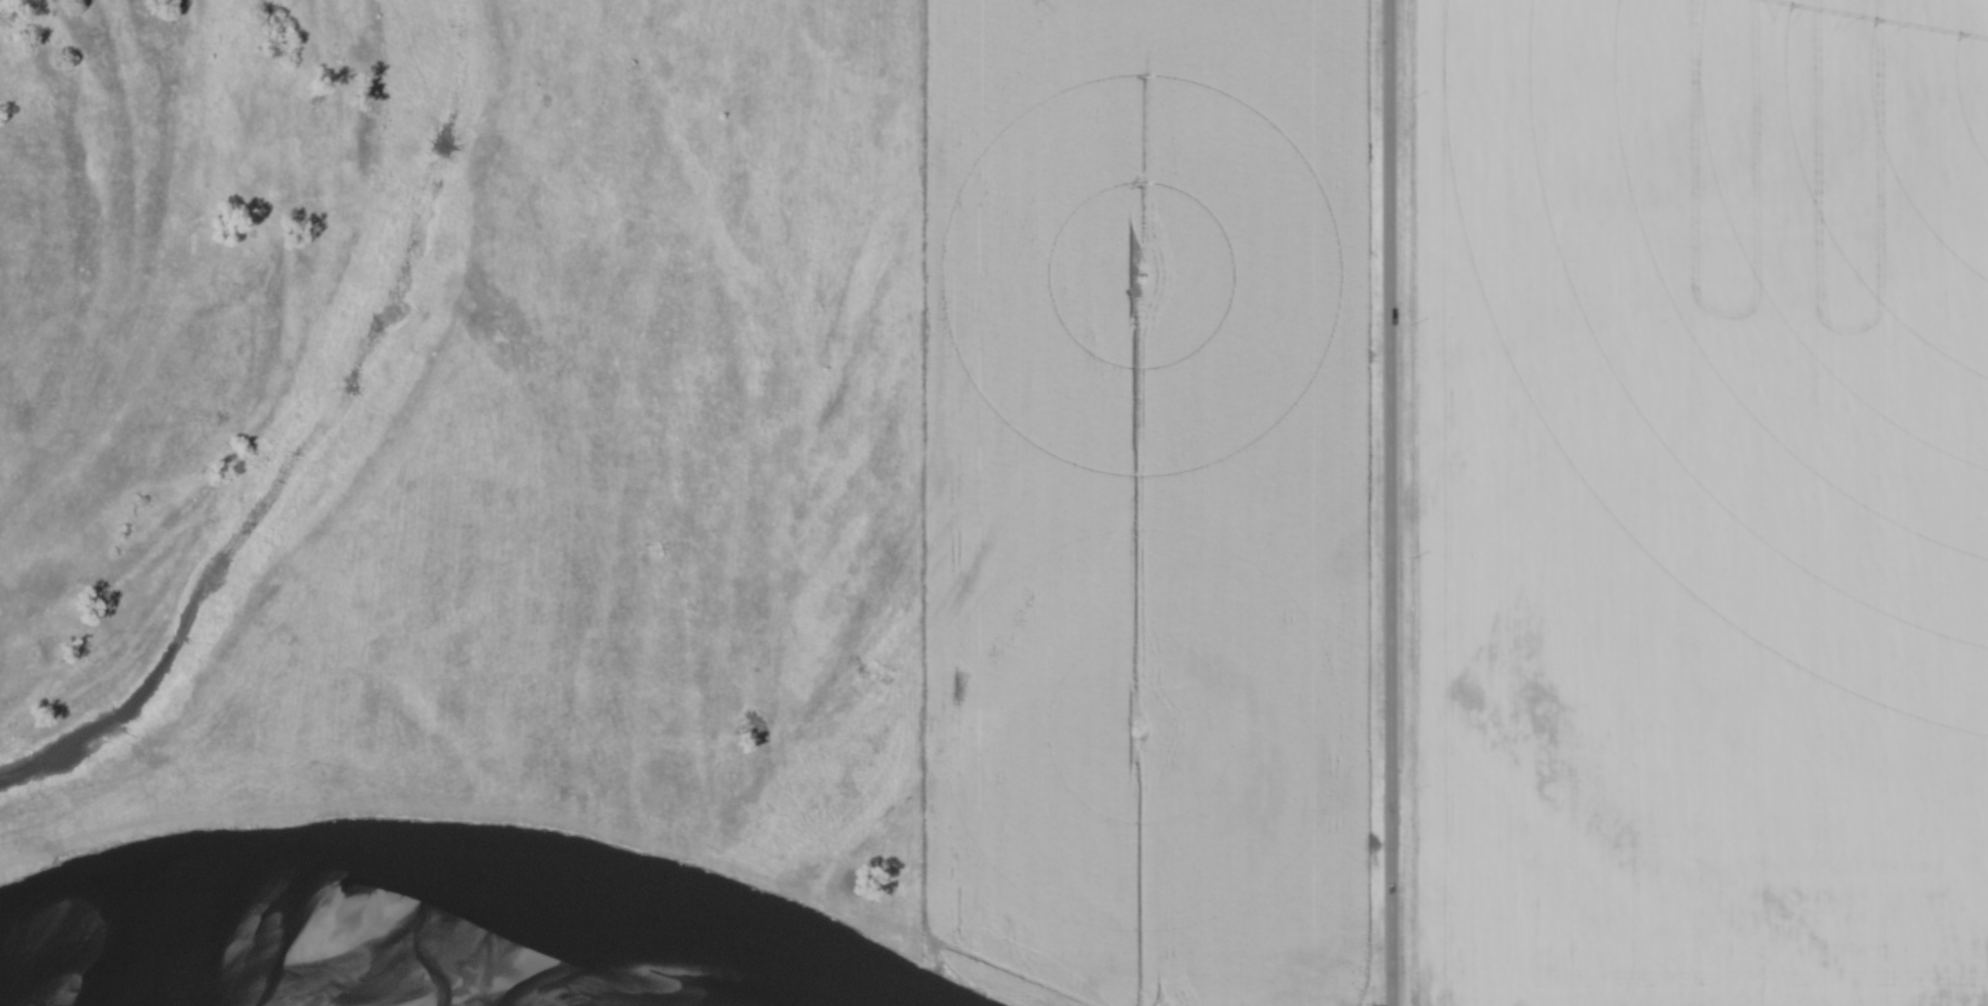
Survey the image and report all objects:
road: (1392, 503)
river: (427, 988)

